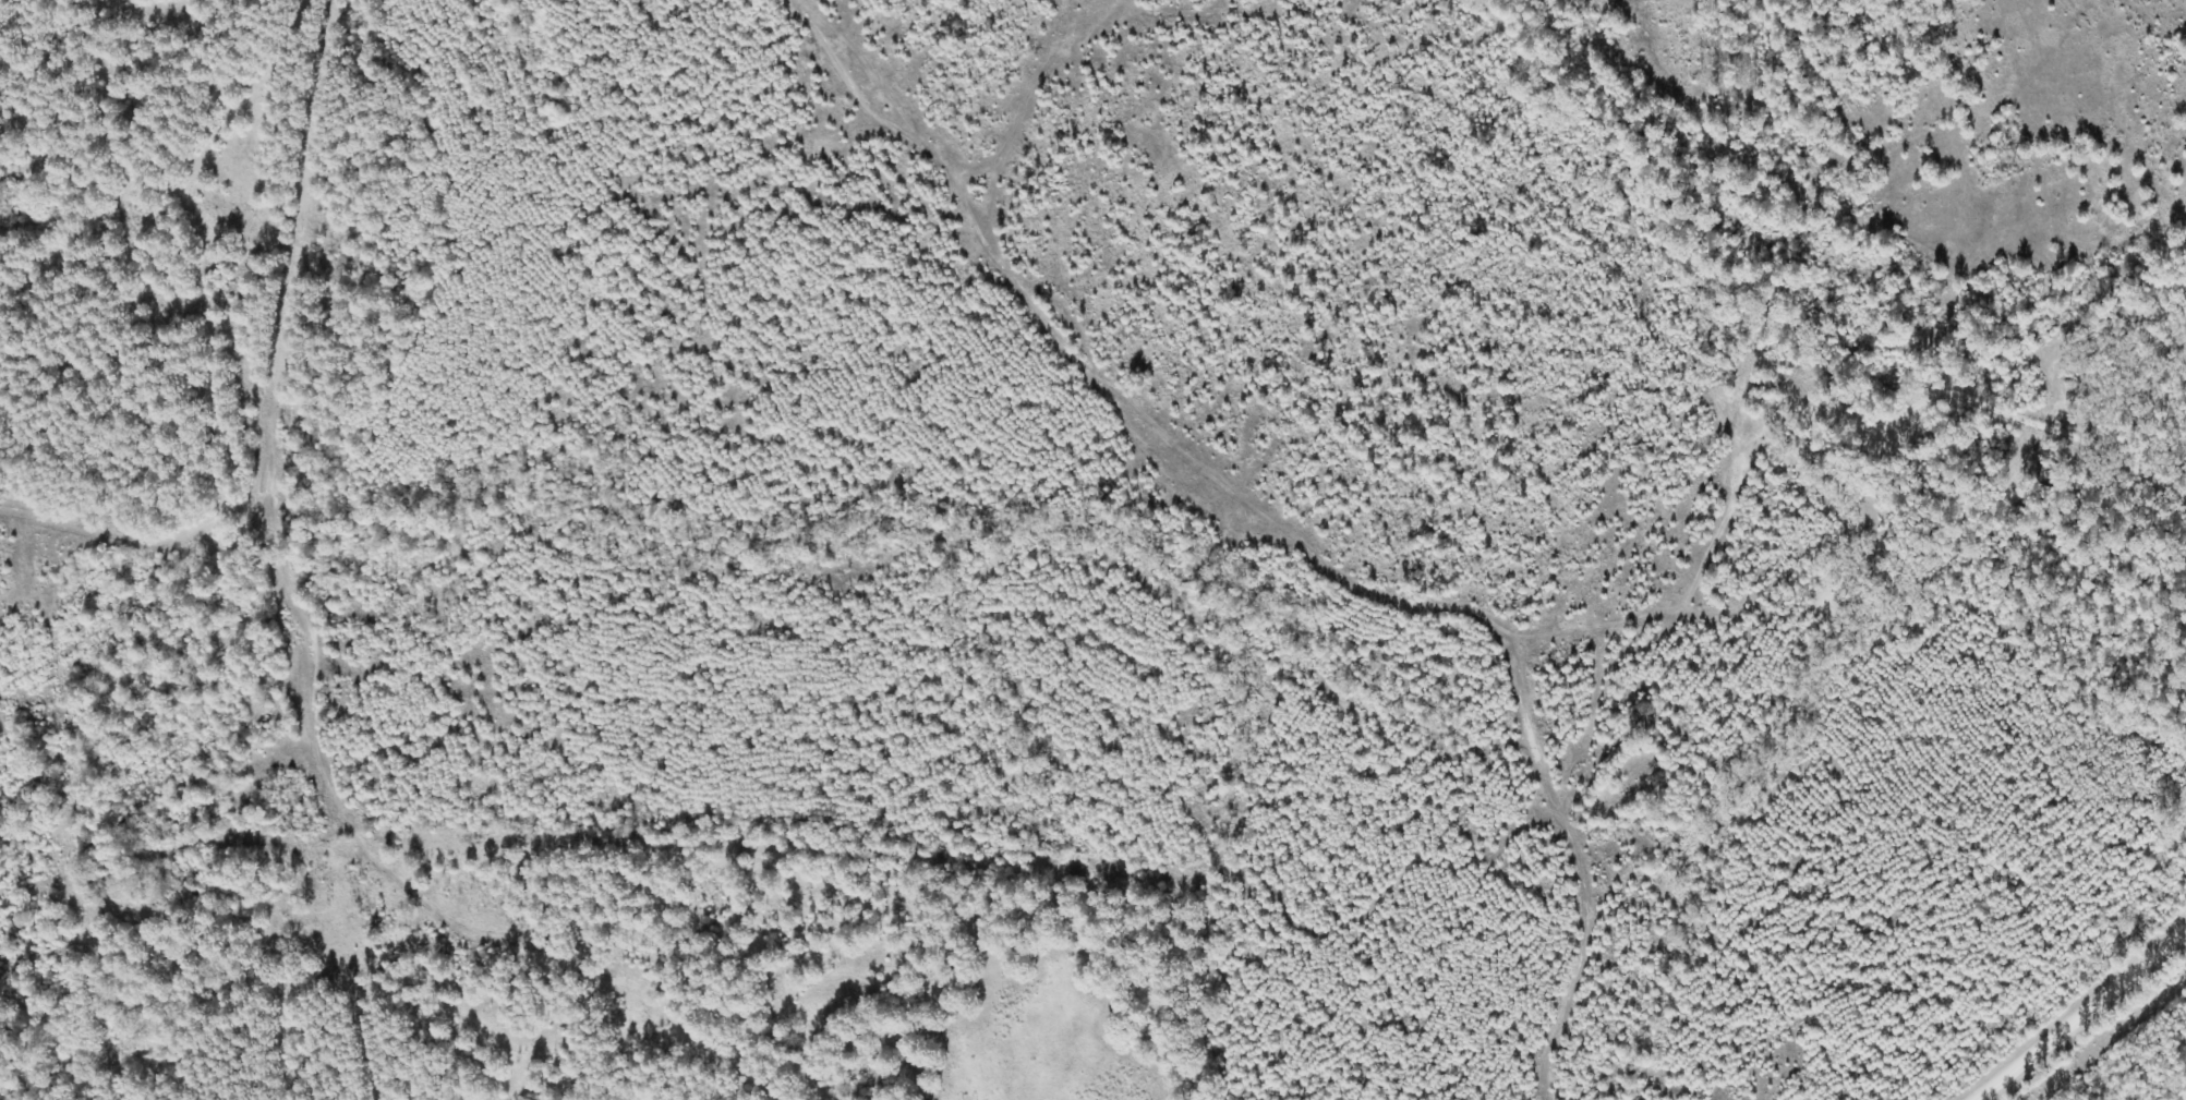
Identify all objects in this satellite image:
road: (2080, 1011)

